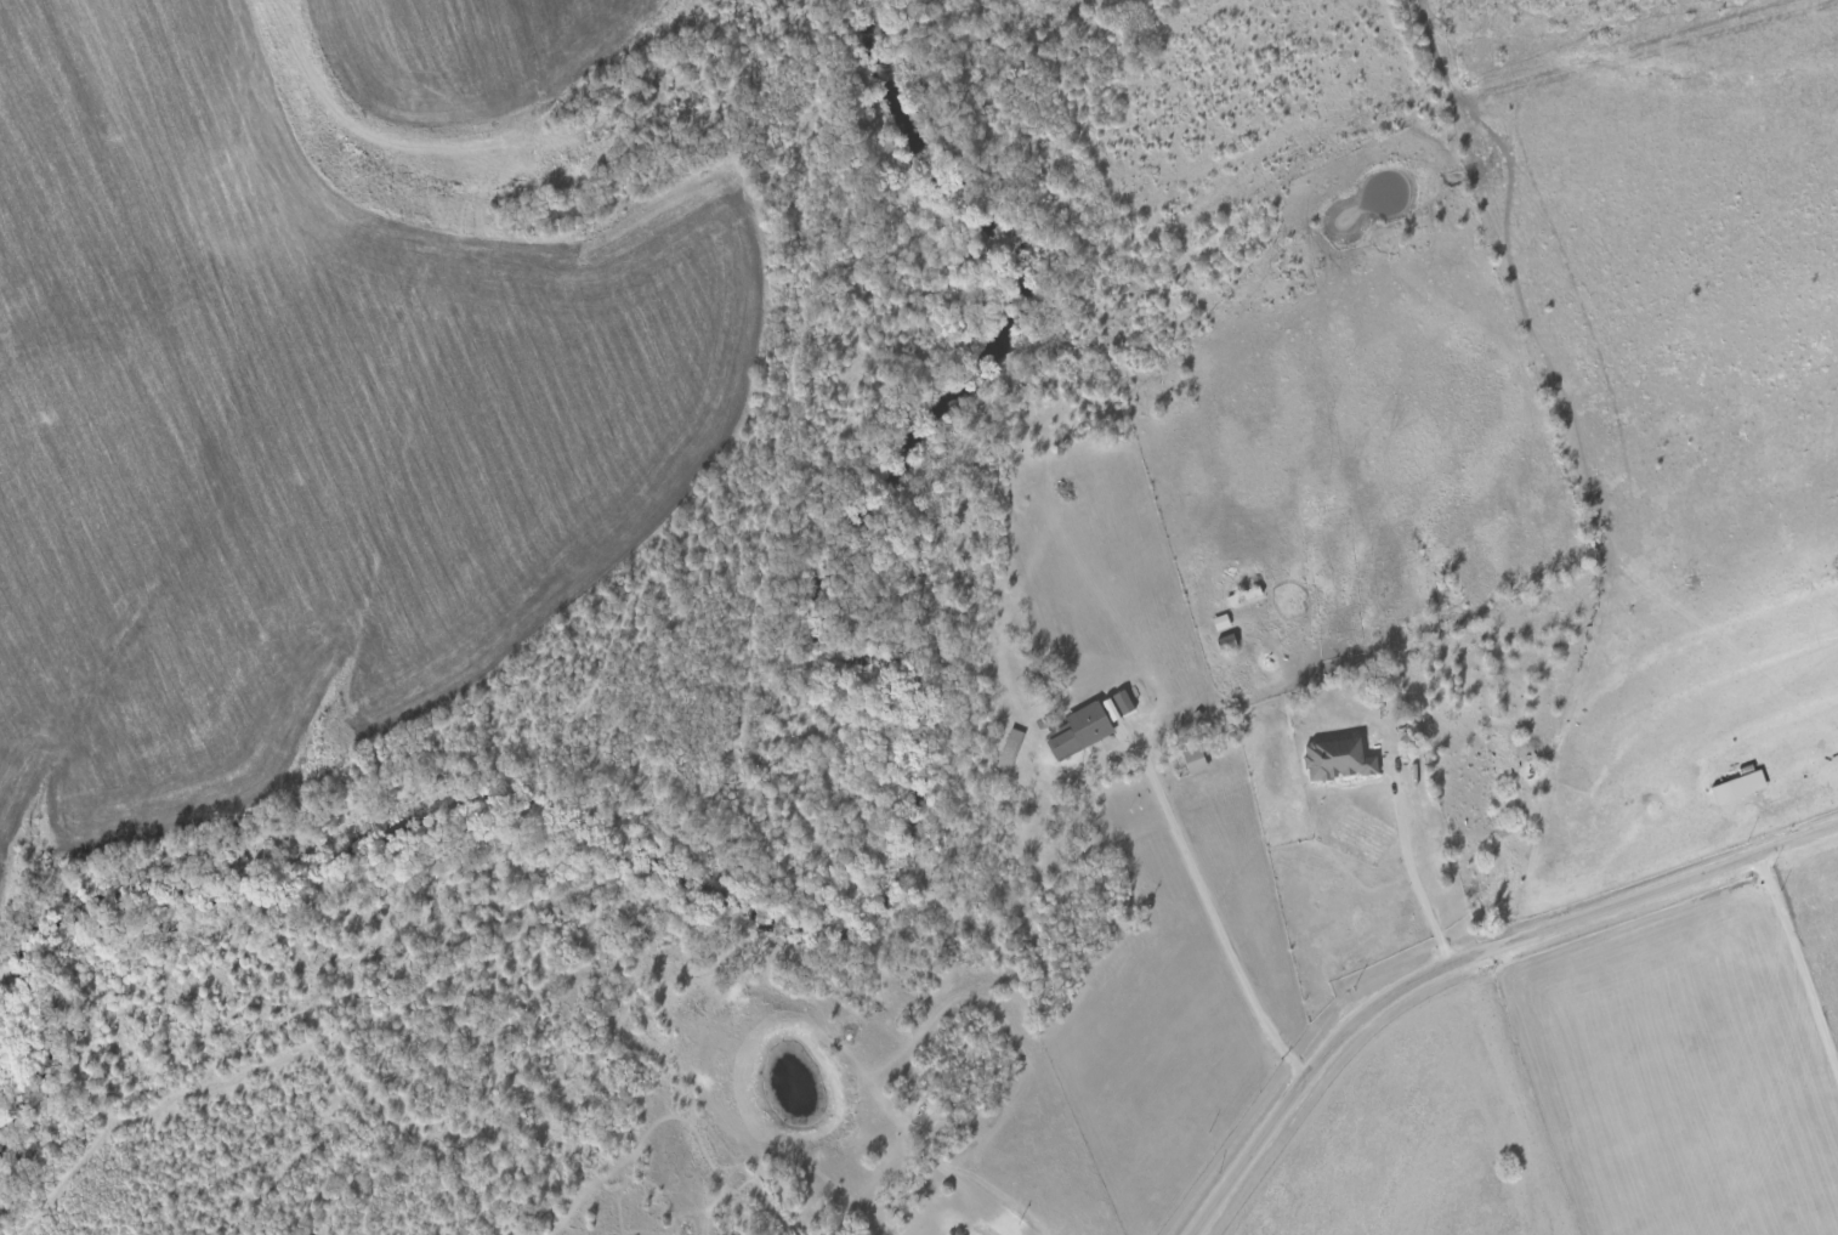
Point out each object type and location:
building: (1118, 704)
building: (1079, 730)
building: (1195, 759)
building: (1338, 759)
building: (1740, 786)
road: (1413, 880)
road: (1214, 916)
road: (1464, 957)
road: (1798, 963)

